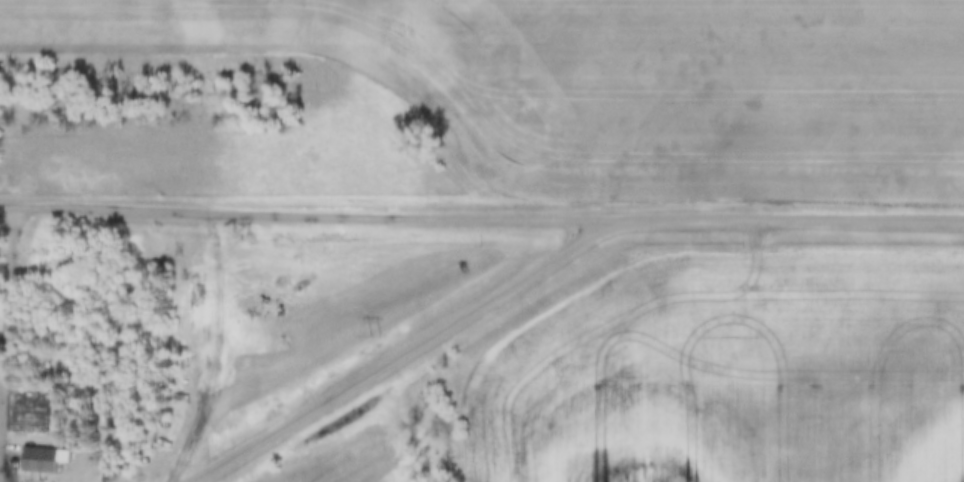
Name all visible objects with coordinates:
road: (307, 211)
road: (788, 217)
power tower: (374, 335)
road: (10, 341)
road: (396, 355)
building: (44, 459)
building: (111, 467)

